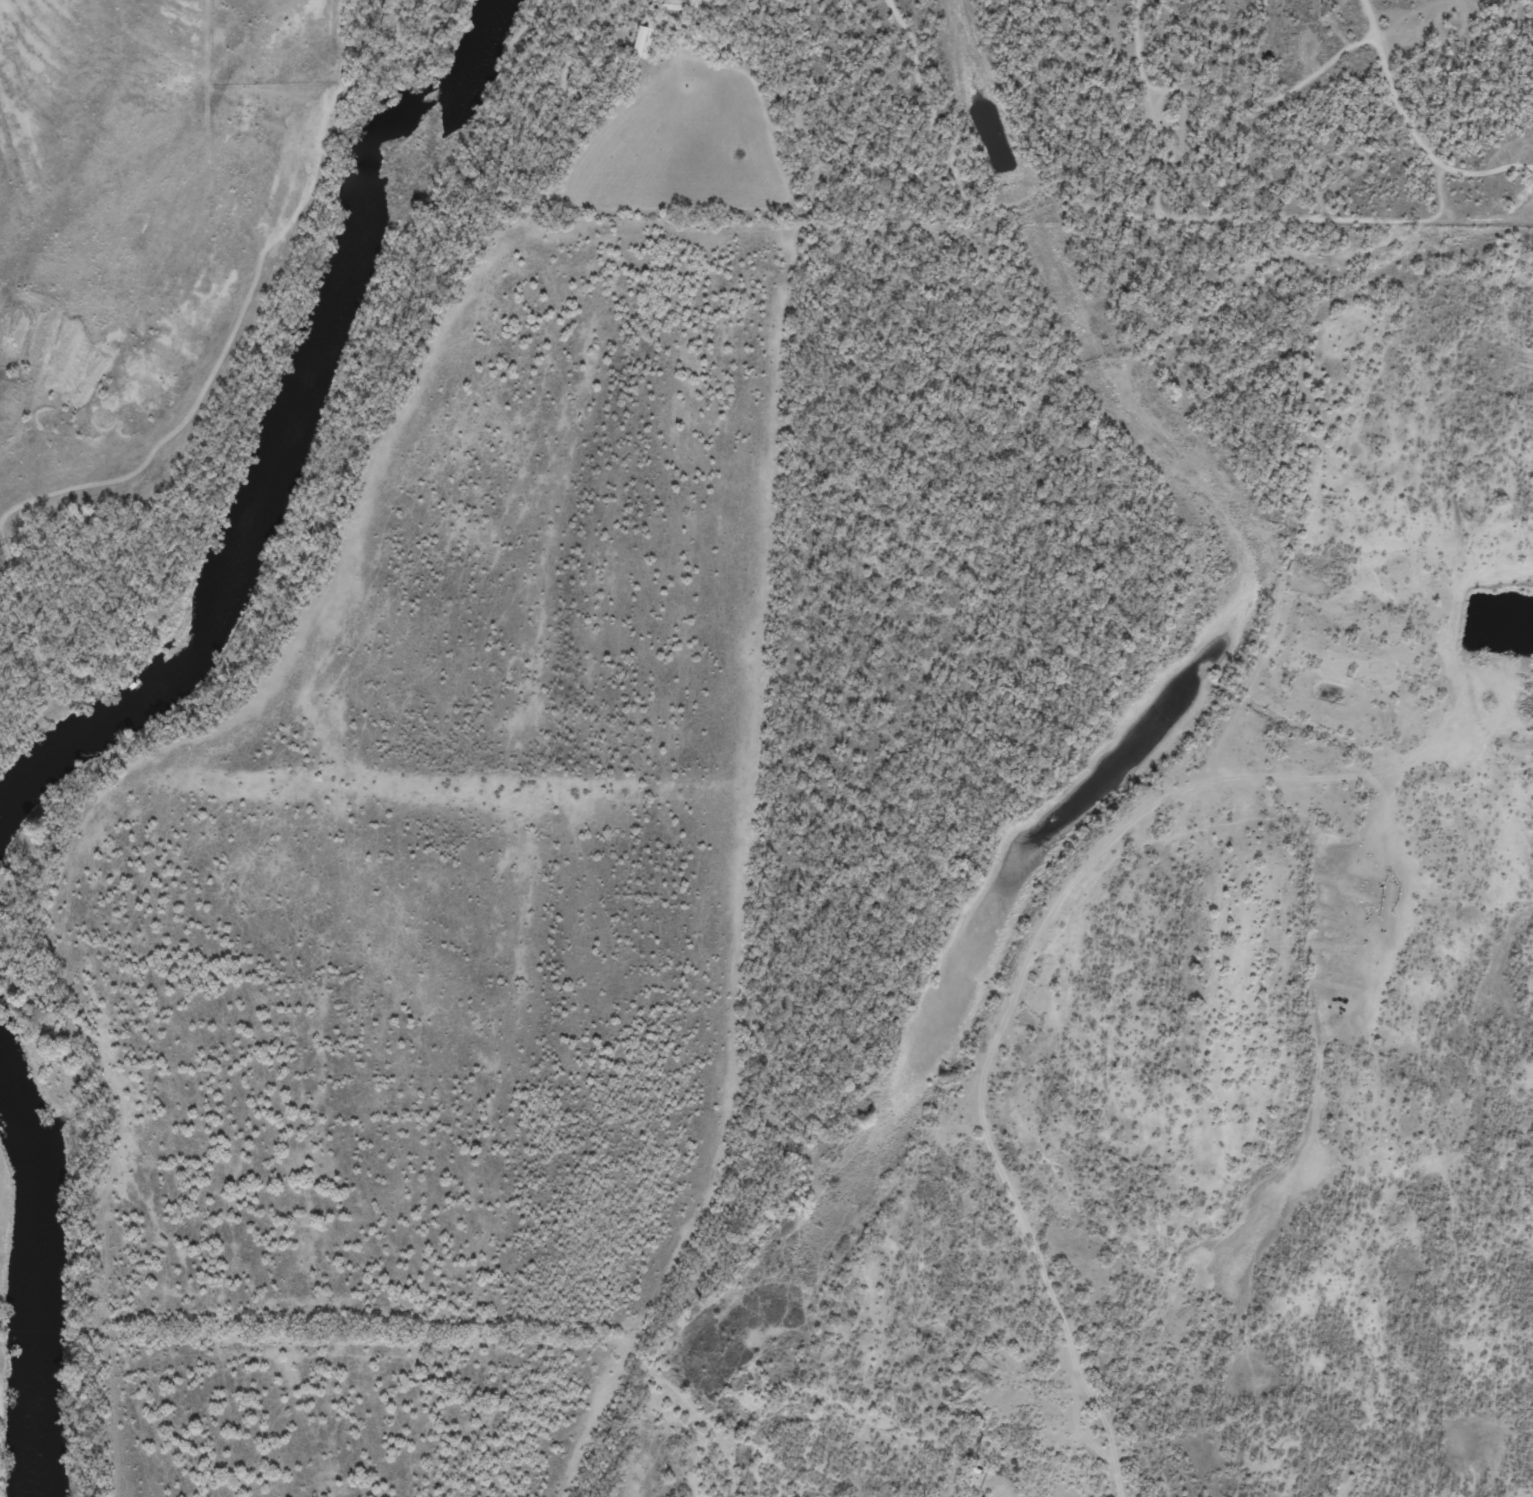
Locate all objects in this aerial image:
building: (642, 40)
road: (1071, 1373)

